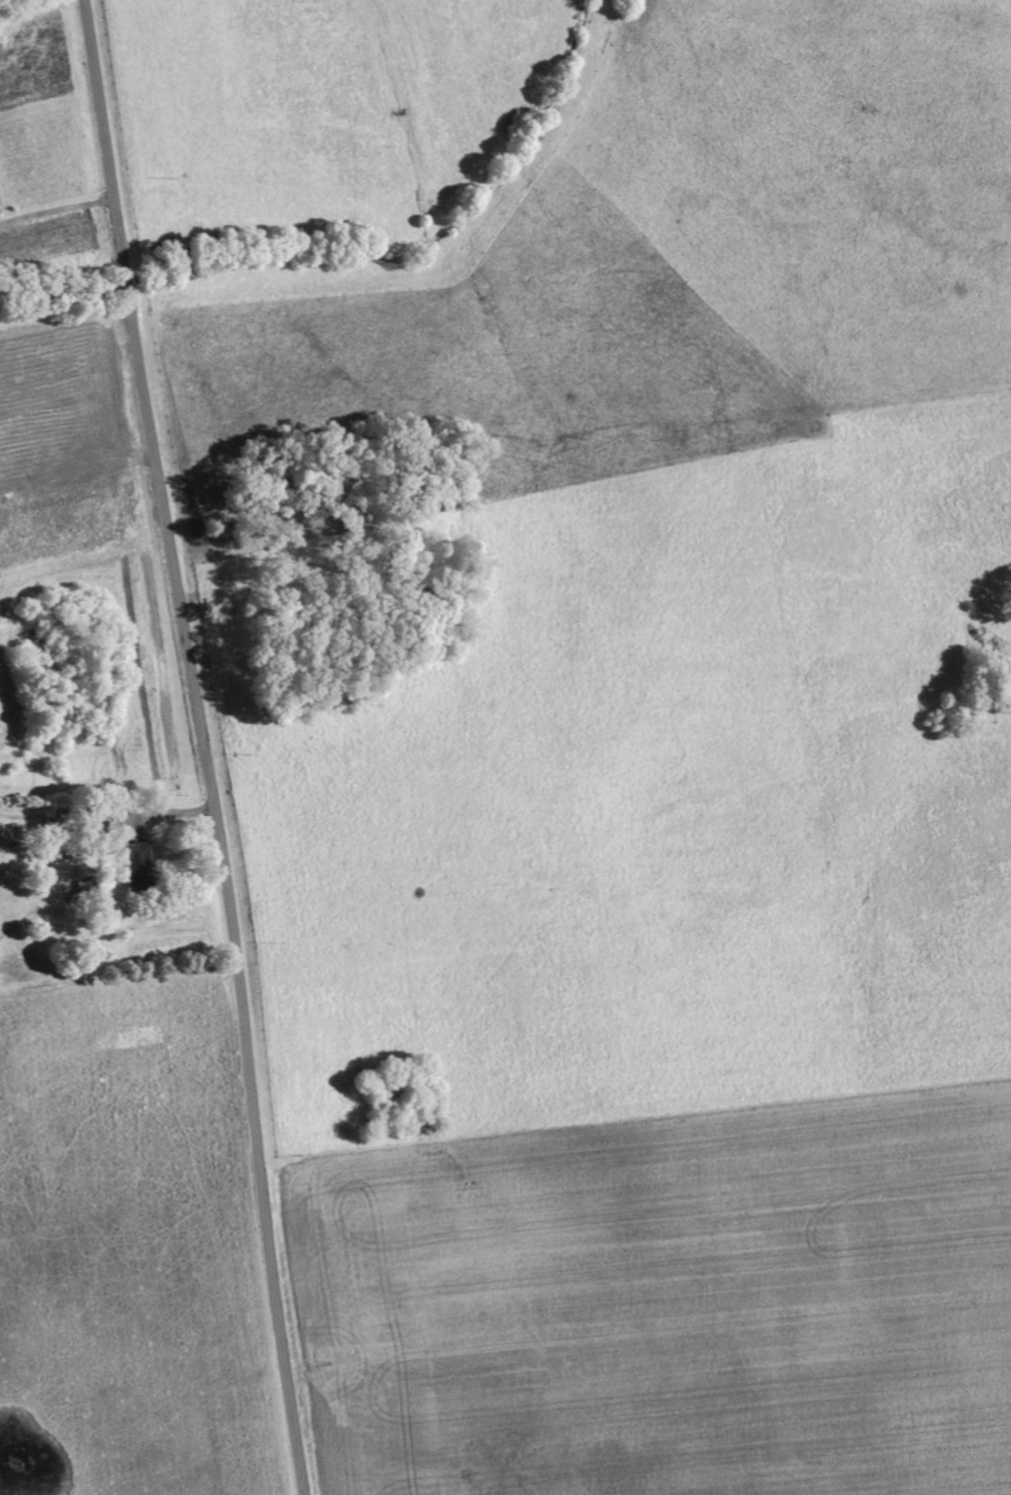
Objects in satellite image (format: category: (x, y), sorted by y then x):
road: (205, 745)
building: (136, 864)

